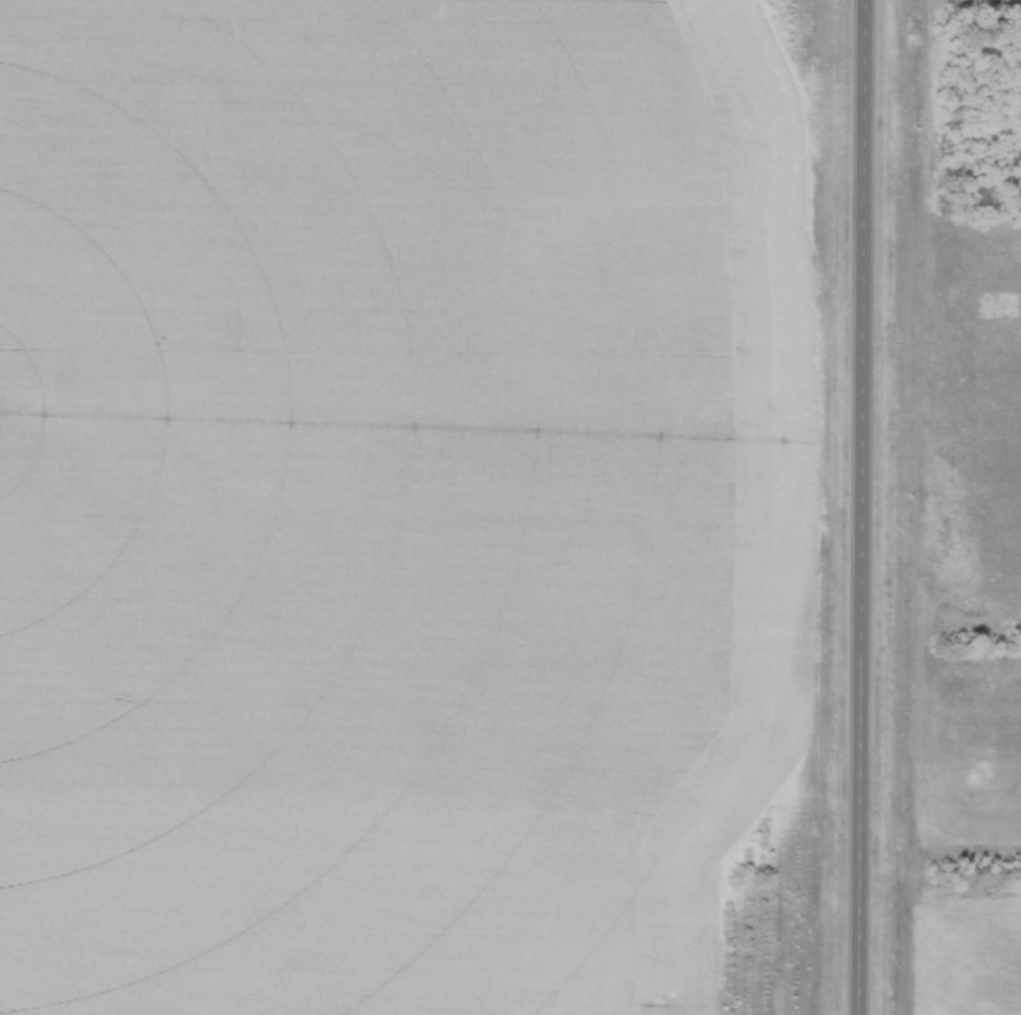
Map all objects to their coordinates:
road: (862, 507)

